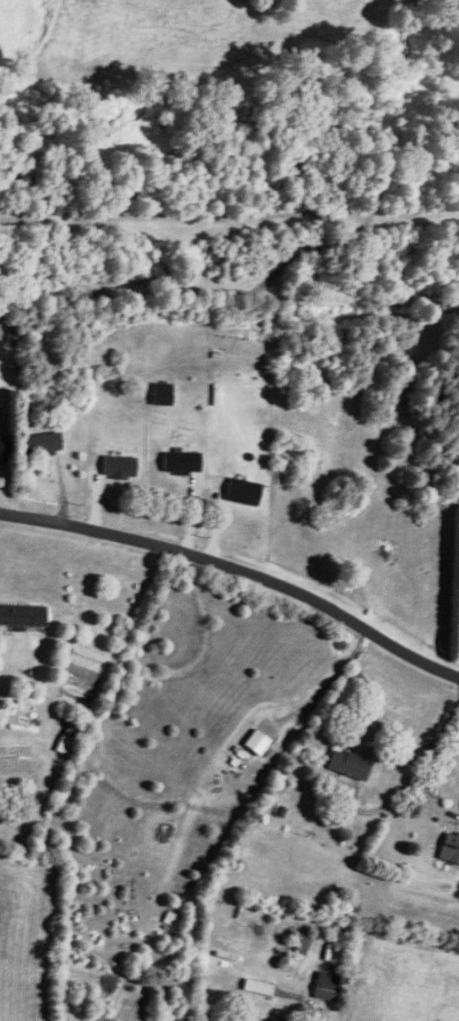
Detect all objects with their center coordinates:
building: (162, 346)
building: (161, 395)
building: (42, 444)
building: (2, 448)
building: (194, 466)
road: (239, 565)
building: (22, 616)
road: (328, 680)
building: (69, 735)
building: (259, 739)
building: (348, 765)
road: (412, 776)
building: (450, 847)
building: (326, 986)
building: (260, 988)

